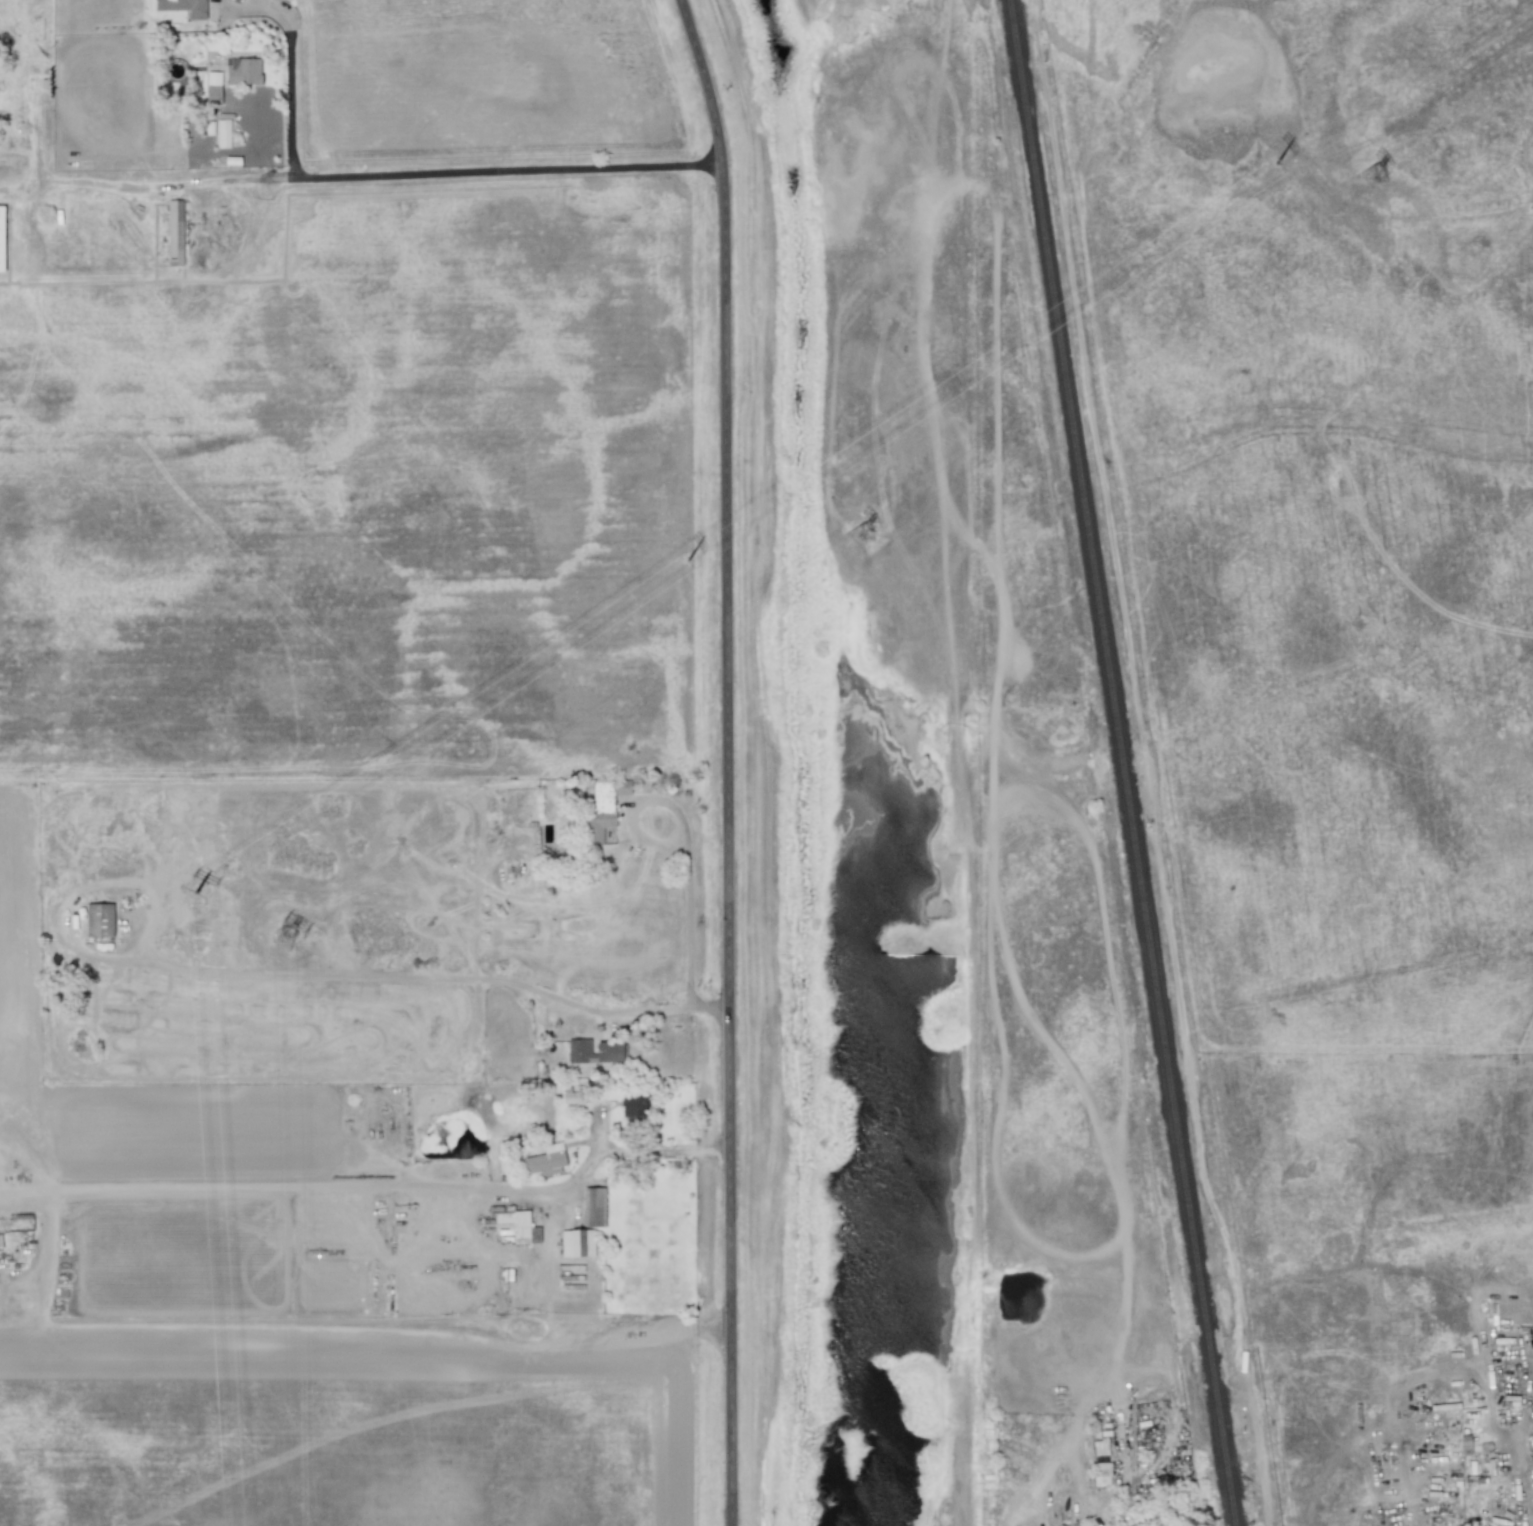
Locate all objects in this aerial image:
building: (183, 7)
building: (244, 71)
road: (290, 77)
building: (213, 88)
building: (223, 133)
road: (35, 150)
road: (382, 171)
power tower: (1371, 182)
building: (175, 233)
building: (1, 237)
road: (728, 502)
power tower: (859, 539)
solar farm: (1349, 717)
railway: (1126, 763)
road: (962, 766)
building: (602, 809)
road: (685, 841)
building: (99, 920)
power tower: (287, 941)
road: (424, 977)
building: (578, 1051)
building: (608, 1052)
building: (571, 1097)
building: (633, 1105)
building: (545, 1160)
road: (374, 1186)
building: (593, 1207)
building: (514, 1224)
building: (577, 1243)
road: (729, 1267)
road: (365, 1342)
building: (1100, 1447)
building: (1101, 1474)
road: (1521, 1484)
road: (1412, 1508)

